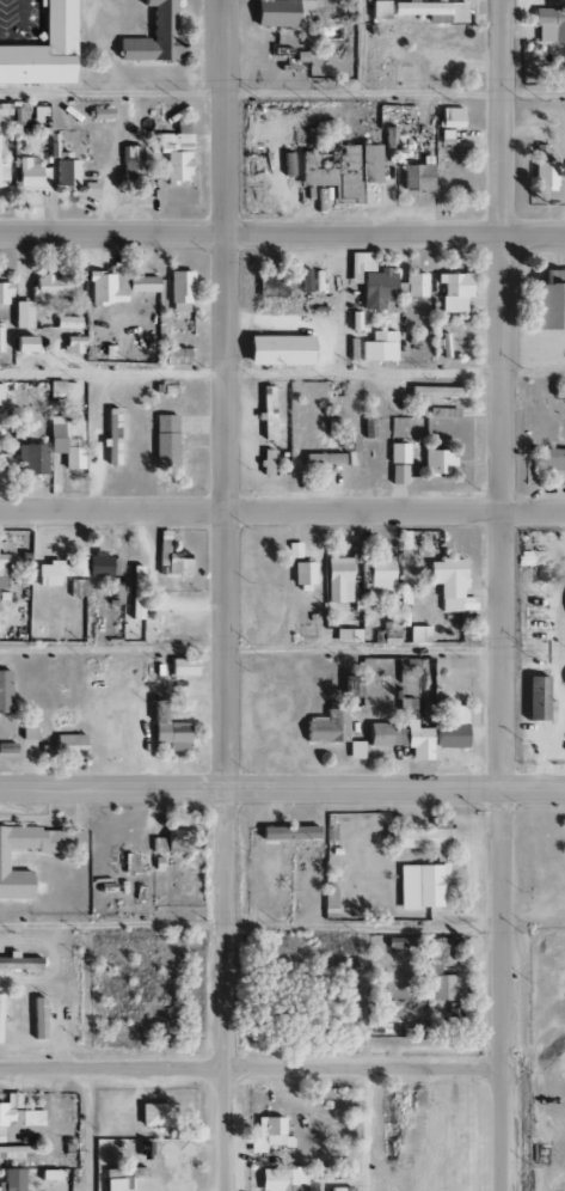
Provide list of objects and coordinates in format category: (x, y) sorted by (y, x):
building: (377, 10)
building: (430, 11)
building: (281, 12)
building: (548, 24)
building: (152, 35)
building: (42, 49)
road: (282, 93)
building: (4, 109)
building: (100, 114)
building: (19, 117)
building: (448, 117)
building: (388, 138)
building: (443, 149)
building: (174, 154)
building: (131, 164)
building: (287, 165)
building: (364, 166)
building: (30, 173)
building: (2, 175)
building: (542, 176)
building: (416, 177)
road: (282, 233)
building: (553, 277)
building: (303, 281)
building: (370, 281)
building: (116, 286)
building: (44, 288)
building: (410, 288)
building: (453, 291)
building: (179, 292)
building: (4, 293)
building: (547, 307)
building: (20, 314)
building: (66, 322)
building: (0, 337)
building: (23, 344)
building: (72, 344)
building: (377, 347)
building: (277, 350)
building: (173, 356)
road: (248, 372)
building: (432, 392)
building: (557, 392)
building: (0, 397)
building: (265, 413)
building: (111, 436)
building: (66, 441)
building: (165, 441)
building: (349, 444)
building: (398, 453)
building: (31, 459)
building: (548, 459)
building: (436, 463)
building: (398, 475)
road: (282, 507)
building: (293, 550)
building: (171, 556)
building: (103, 566)
building: (81, 569)
building: (2, 572)
building: (54, 572)
building: (302, 573)
building: (380, 578)
building: (337, 580)
building: (449, 585)
building: (76, 587)
building: (135, 592)
road: (499, 594)
road: (226, 595)
building: (389, 628)
building: (418, 634)
building: (346, 635)
road: (250, 648)
building: (182, 666)
building: (4, 691)
building: (326, 726)
building: (452, 728)
building: (167, 729)
building: (27, 731)
building: (376, 734)
building: (412, 740)
building: (69, 745)
building: (7, 747)
building: (355, 750)
road: (282, 784)
building: (287, 832)
building: (409, 837)
building: (171, 842)
building: (444, 842)
building: (2, 860)
building: (420, 885)
building: (328, 898)
road: (529, 914)
road: (250, 927)
building: (18, 963)
building: (434, 970)
building: (0, 994)
building: (383, 1015)
building: (37, 1018)
road: (558, 1051)
road: (364, 1059)
road: (250, 1069)
building: (17, 1113)
building: (154, 1114)
road: (88, 1130)
building: (266, 1135)
building: (142, 1149)
building: (14, 1152)
road: (551, 1152)
building: (280, 1178)
building: (12, 1180)
road: (554, 1183)
building: (116, 1184)
road: (543, 1187)

